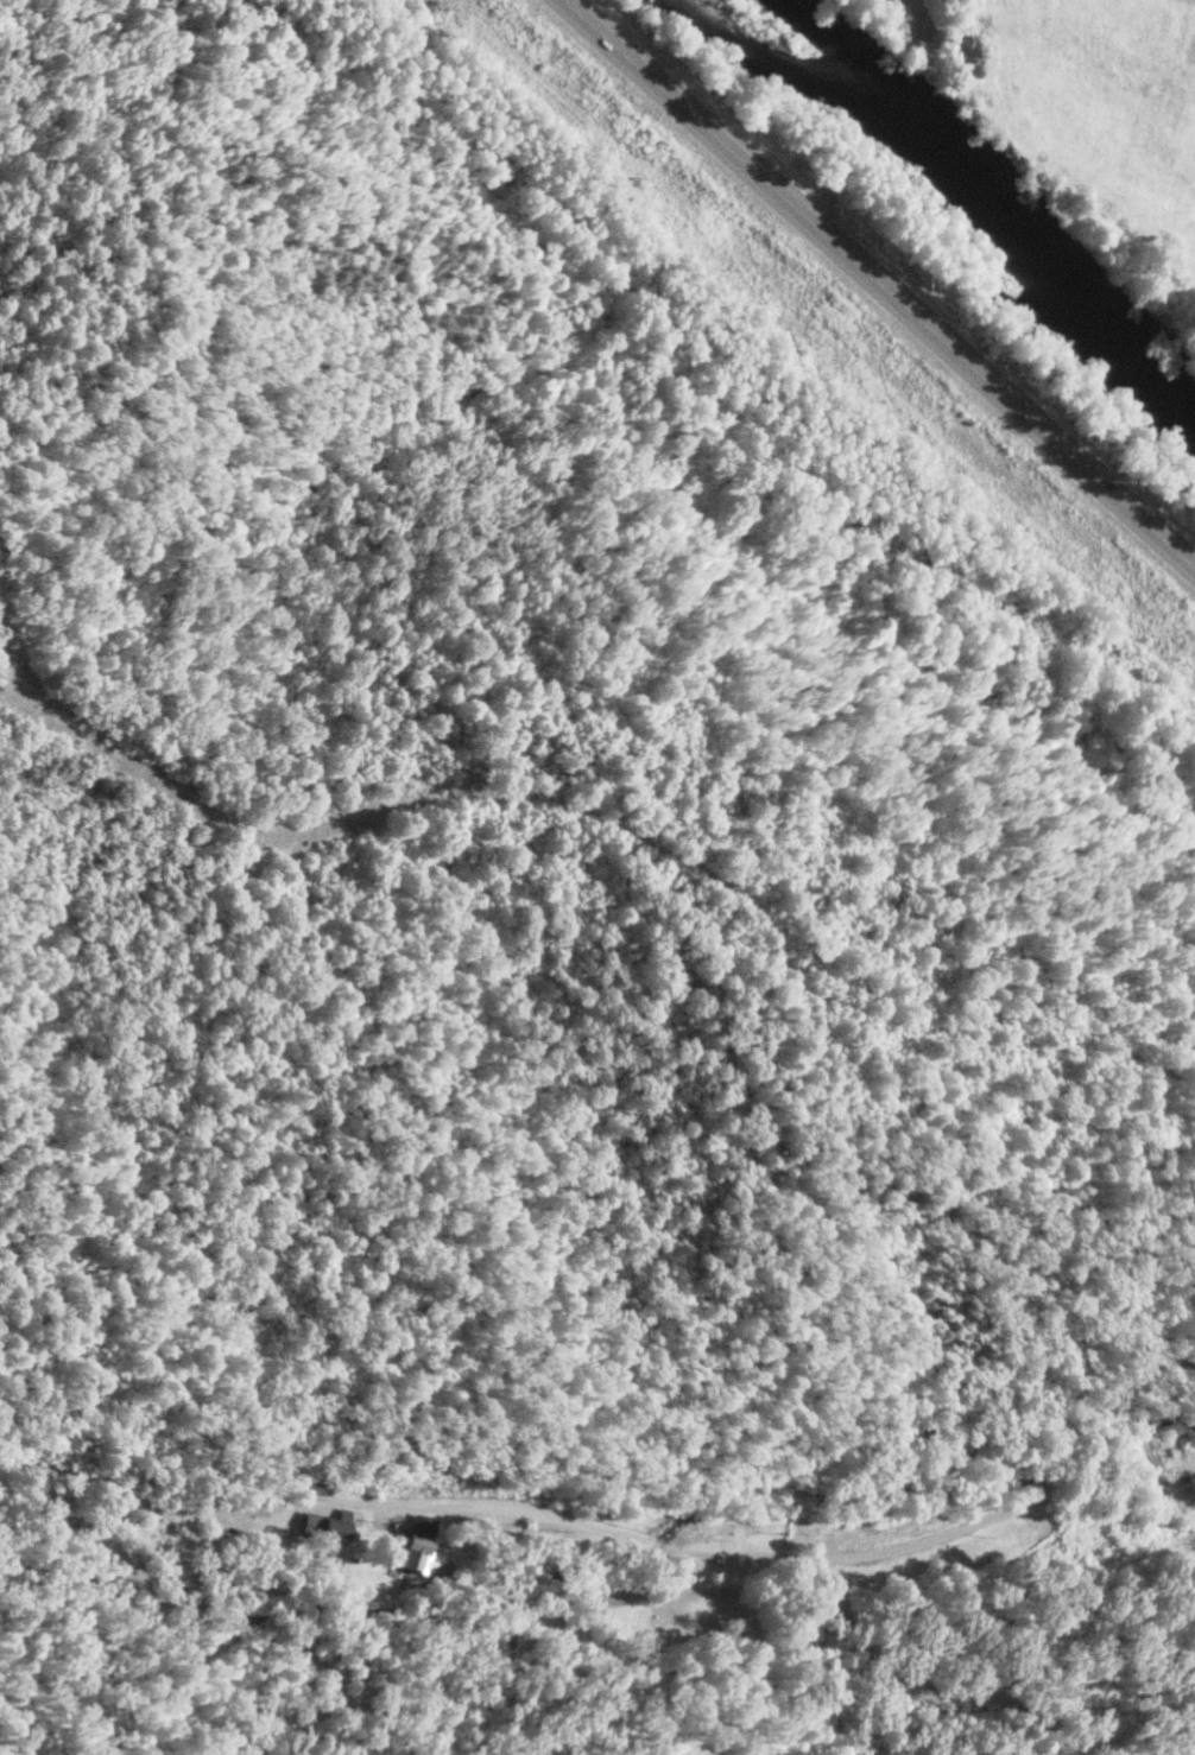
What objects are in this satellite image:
river: (976, 188)
road: (881, 283)
building: (324, 1525)
building: (411, 1542)
road: (761, 1550)

